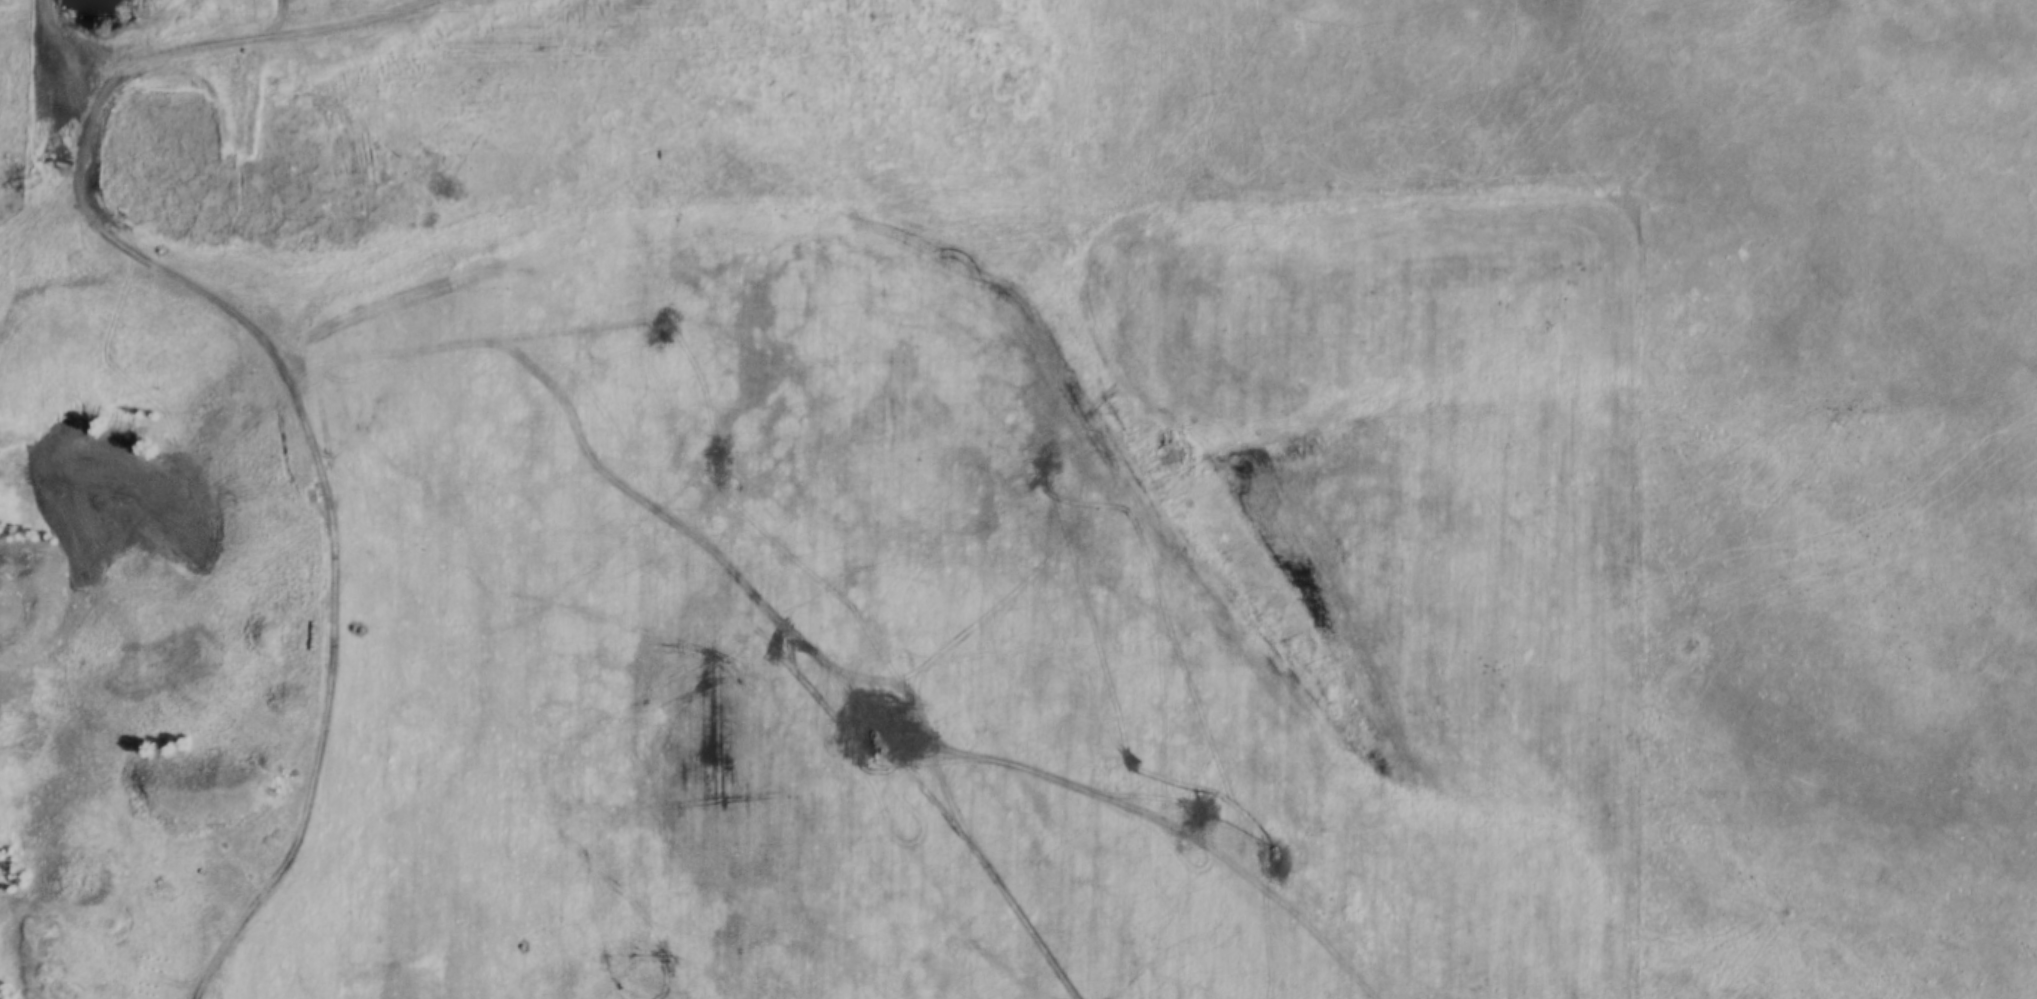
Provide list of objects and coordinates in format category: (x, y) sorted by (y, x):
road: (320, 410)
quarry: (141, 698)

